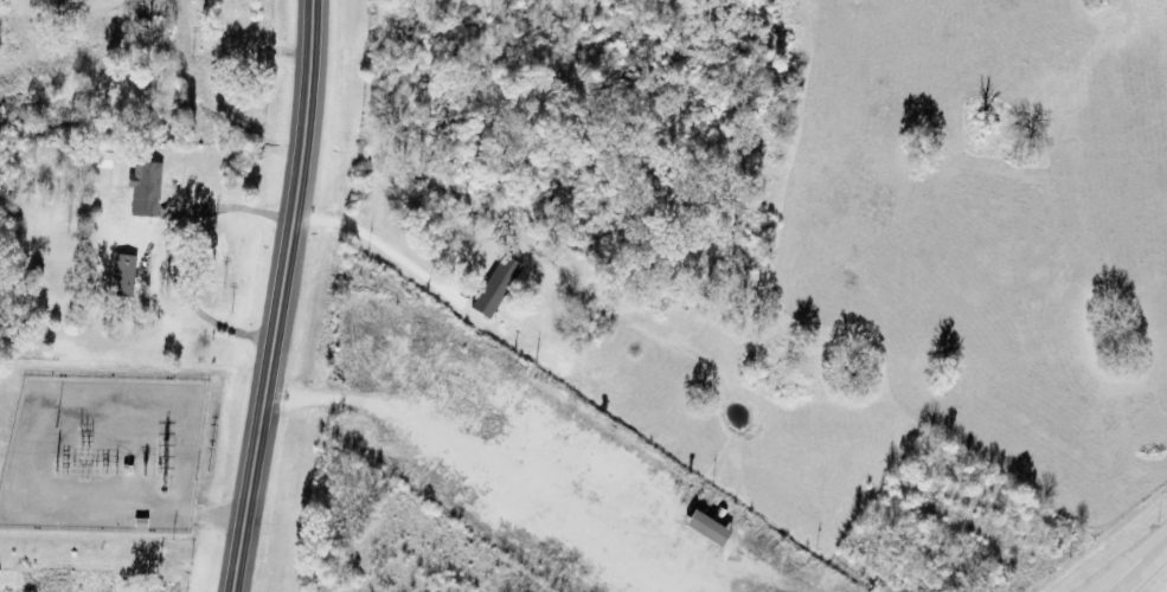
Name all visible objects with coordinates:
road: (39, 11)
building: (76, 157)
building: (105, 161)
building: (146, 191)
building: (124, 276)
road: (277, 296)
power substation: (102, 458)
power tower: (73, 466)
building: (710, 530)
road: (1129, 562)
power tower: (156, 564)
power tower: (186, 565)
road: (1139, 566)

